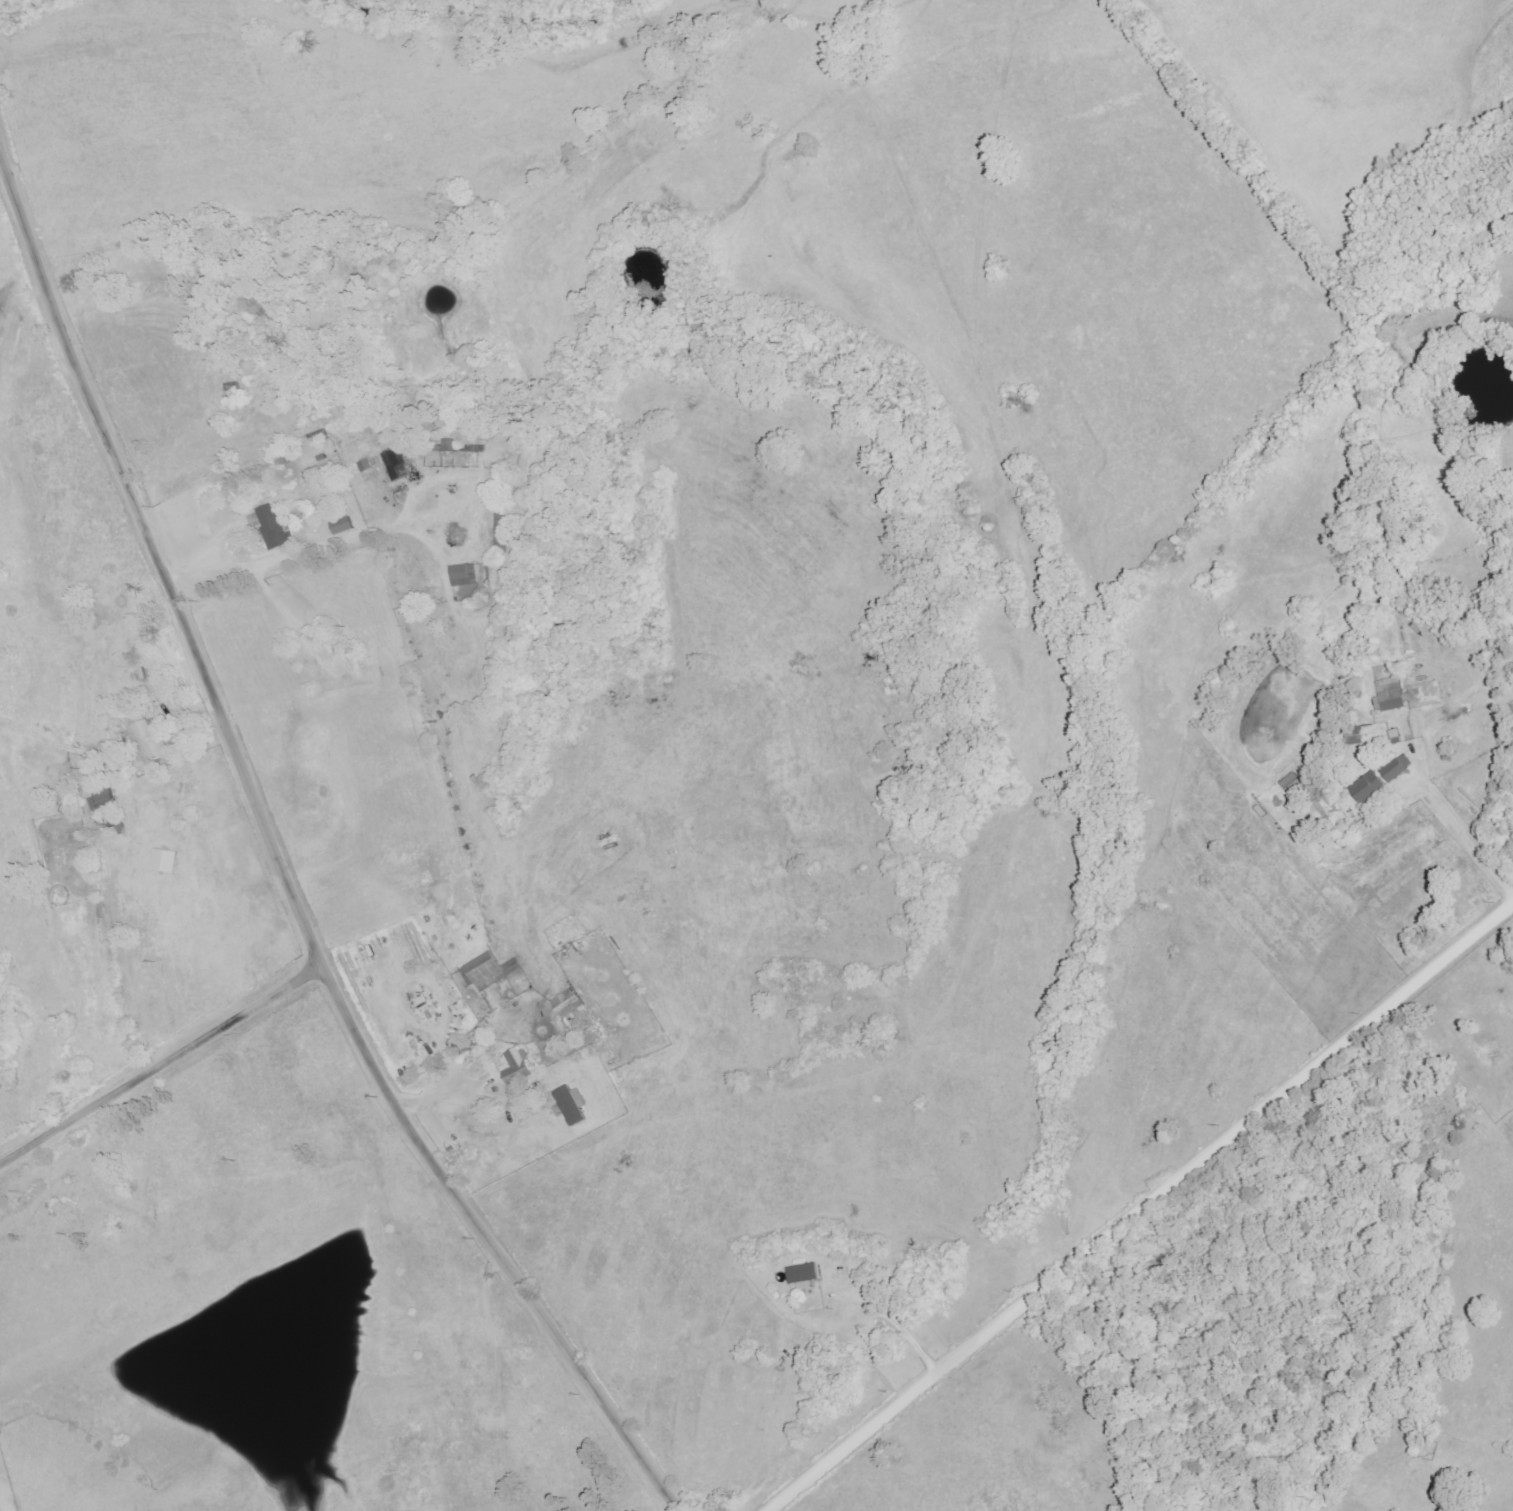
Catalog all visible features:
building: (367, 467)
building: (279, 529)
road: (215, 551)
building: (468, 573)
building: (1392, 695)
building: (1352, 737)
building: (1394, 737)
building: (148, 740)
building: (1396, 768)
building: (1291, 784)
building: (1366, 788)
building: (105, 802)
road: (1468, 840)
building: (164, 861)
road: (281, 862)
building: (488, 971)
building: (567, 1003)
building: (517, 1064)
road: (163, 1065)
road: (465, 1085)
building: (569, 1104)
road: (1143, 1209)
building: (802, 1274)

